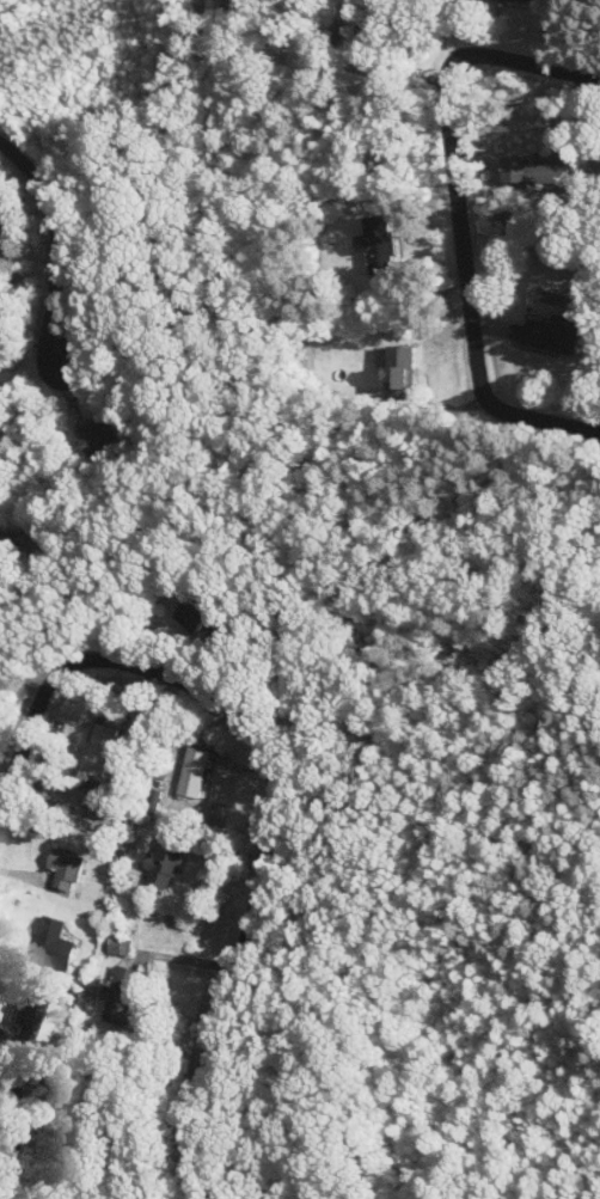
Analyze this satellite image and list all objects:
building: (531, 1)
road: (457, 212)
building: (375, 244)
road: (55, 252)
building: (552, 331)
building: (397, 367)
building: (97, 435)
building: (191, 616)
building: (96, 751)
building: (191, 772)
road: (275, 787)
building: (160, 865)
building: (63, 869)
building: (50, 944)
building: (117, 946)
building: (120, 992)

